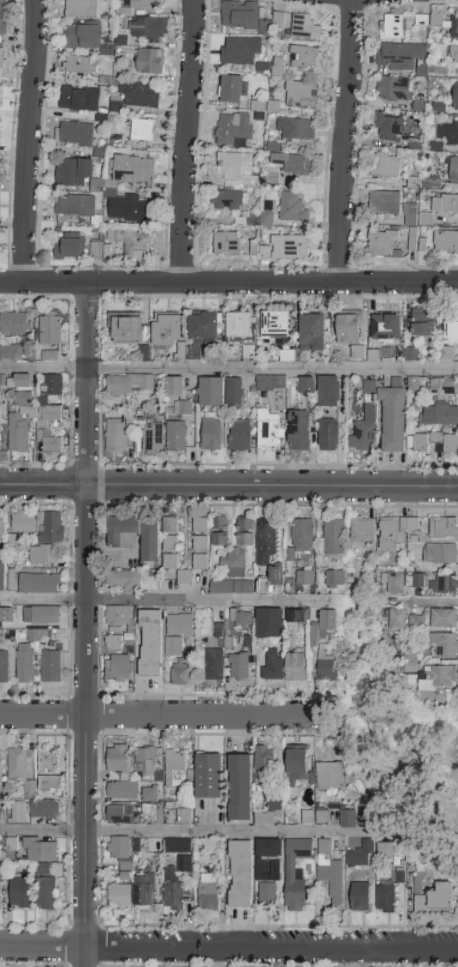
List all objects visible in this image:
building: (105, 0)
building: (1, 3)
building: (145, 4)
building: (81, 9)
building: (241, 16)
building: (2, 27)
building: (391, 27)
building: (148, 28)
building: (305, 28)
building: (454, 28)
building: (82, 36)
building: (240, 51)
building: (399, 56)
building: (454, 56)
building: (1, 57)
building: (304, 57)
building: (150, 61)
building: (81, 66)
building: (233, 89)
building: (394, 89)
building: (140, 95)
building: (301, 95)
building: (455, 96)
building: (79, 99)
building: (438, 107)
building: (389, 127)
building: (226, 128)
building: (295, 129)
building: (139, 131)
building: (448, 133)
building: (74, 135)
road: (29, 141)
road: (187, 141)
road: (344, 141)
building: (293, 164)
building: (386, 166)
building: (133, 169)
building: (237, 170)
building: (452, 170)
building: (73, 172)
building: (229, 200)
building: (385, 203)
building: (445, 205)
building: (75, 206)
building: (292, 208)
building: (127, 209)
building: (266, 219)
building: (251, 220)
building: (445, 242)
building: (383, 244)
building: (226, 245)
building: (70, 247)
building: (290, 247)
building: (137, 251)
road: (229, 283)
building: (424, 323)
building: (14, 324)
building: (239, 325)
building: (276, 325)
building: (387, 327)
building: (349, 328)
building: (50, 329)
building: (126, 329)
building: (167, 330)
building: (451, 330)
building: (202, 332)
building: (313, 333)
building: (357, 351)
building: (7, 353)
building: (248, 353)
building: (447, 353)
building: (411, 355)
building: (50, 356)
building: (290, 356)
road: (228, 370)
building: (23, 381)
building: (306, 382)
building: (130, 384)
building: (270, 384)
building: (54, 385)
building: (174, 386)
building: (443, 389)
building: (211, 392)
building: (328, 392)
building: (235, 394)
building: (23, 399)
building: (183, 408)
building: (440, 414)
building: (393, 416)
building: (364, 423)
building: (47, 426)
building: (269, 429)
building: (299, 431)
building: (18, 433)
building: (117, 435)
building: (211, 435)
building: (239, 435)
building: (328, 435)
building: (176, 436)
building: (153, 438)
building: (422, 441)
building: (451, 445)
road: (228, 484)
building: (23, 522)
building: (2, 527)
building: (52, 528)
building: (444, 528)
building: (219, 531)
building: (363, 531)
building: (395, 531)
building: (244, 532)
building: (302, 535)
building: (135, 536)
building: (334, 537)
building: (265, 541)
building: (171, 543)
building: (200, 543)
building: (44, 554)
building: (439, 554)
building: (233, 575)
building: (277, 575)
building: (2, 576)
building: (185, 577)
building: (305, 578)
building: (335, 578)
building: (418, 579)
building: (132, 581)
building: (39, 583)
building: (394, 584)
building: (444, 584)
road: (160, 597)
road: (429, 601)
building: (119, 615)
building: (41, 616)
building: (297, 617)
building: (241, 618)
building: (397, 619)
building: (444, 619)
building: (417, 622)
building: (269, 623)
road: (84, 624)
building: (179, 625)
building: (317, 628)
building: (33, 635)
building: (150, 643)
building: (114, 644)
building: (443, 644)
building: (174, 646)
building: (24, 662)
building: (272, 665)
building: (214, 666)
building: (4, 667)
building: (51, 667)
building: (238, 667)
building: (295, 667)
building: (326, 667)
building: (118, 669)
building: (180, 673)
building: (430, 674)
road: (159, 717)
building: (118, 758)
building: (48, 760)
building: (145, 760)
building: (17, 763)
building: (264, 764)
building: (297, 764)
building: (174, 765)
building: (209, 776)
building: (330, 776)
building: (50, 783)
building: (28, 788)
building: (240, 788)
building: (122, 790)
building: (150, 794)
building: (43, 809)
building: (3, 810)
building: (270, 810)
building: (152, 811)
building: (18, 813)
building: (120, 815)
building: (184, 816)
building: (325, 817)
building: (307, 818)
building: (347, 818)
road: (196, 833)
building: (177, 846)
building: (119, 848)
building: (11, 850)
building: (40, 850)
building: (385, 850)
building: (411, 851)
building: (360, 857)
building: (268, 860)
building: (184, 865)
building: (126, 872)
building: (295, 873)
building: (240, 874)
building: (331, 874)
building: (398, 877)
building: (45, 889)
building: (0, 890)
building: (172, 890)
building: (20, 891)
building: (143, 891)
building: (208, 892)
building: (267, 896)
building: (360, 897)
building: (433, 897)
building: (119, 898)
building: (385, 899)
road: (229, 947)

